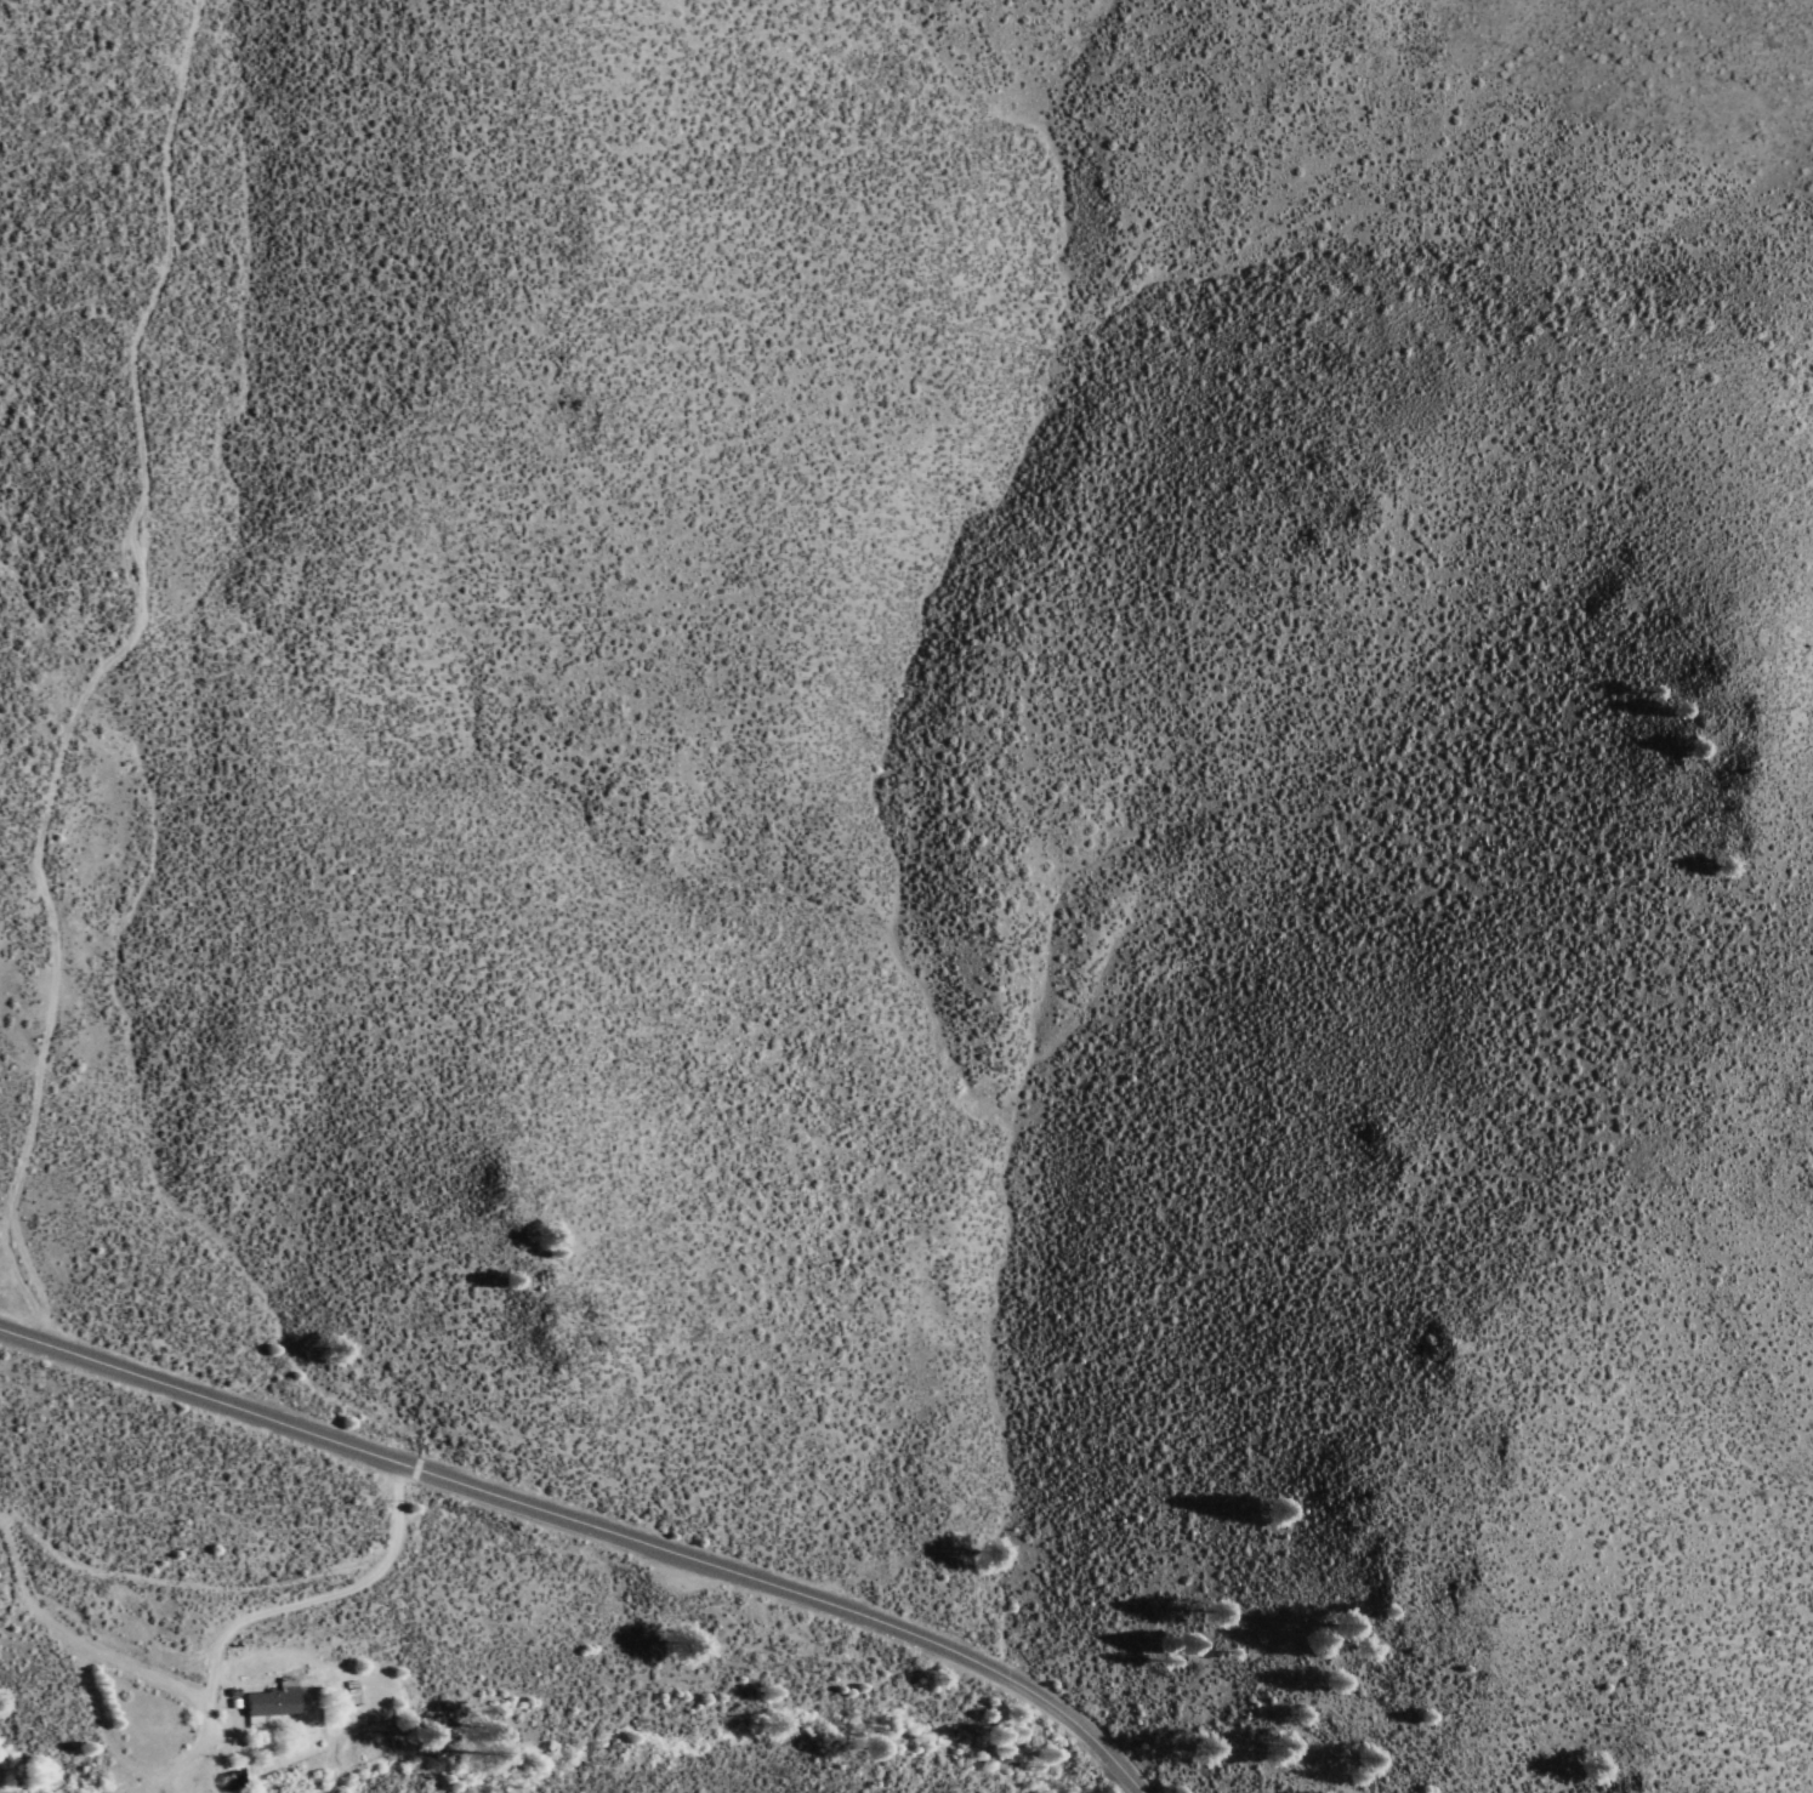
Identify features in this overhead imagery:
road: (107, 666)
road: (590, 1525)
road: (118, 1664)

